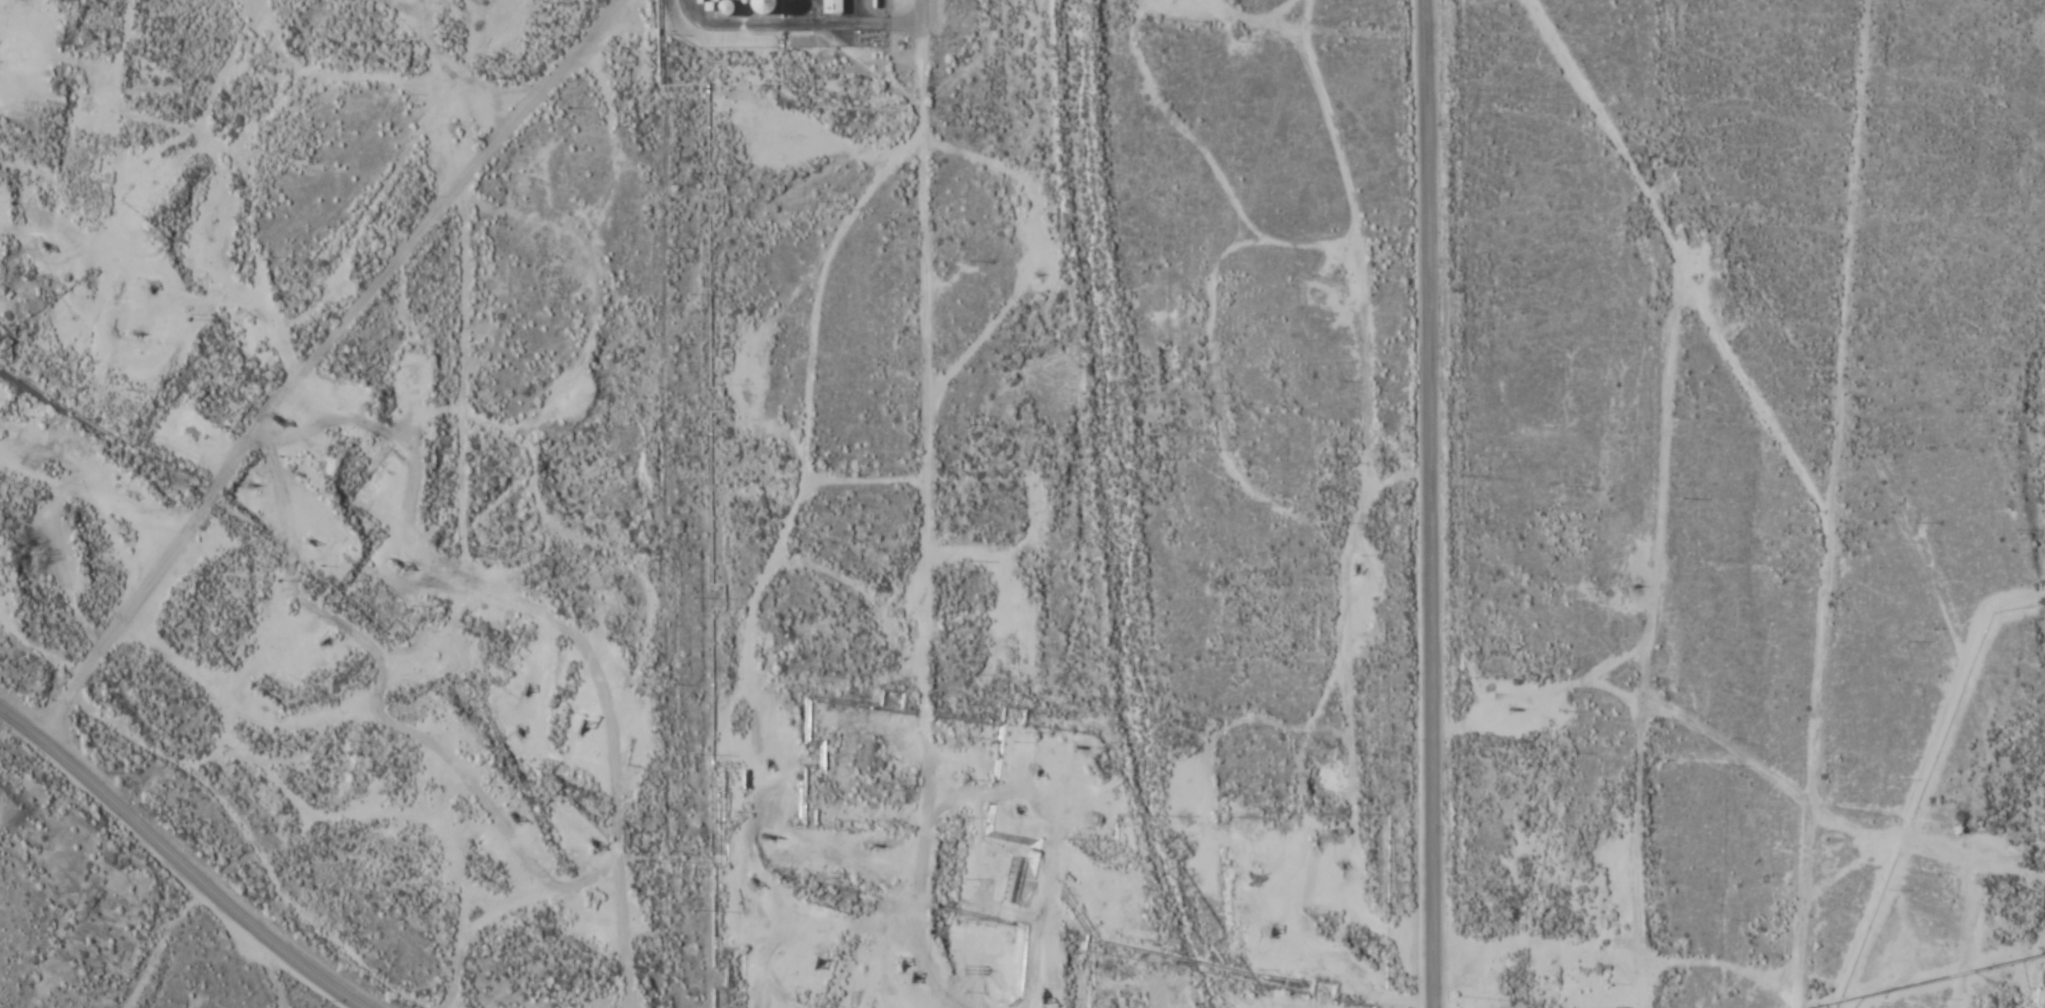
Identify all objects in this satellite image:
building: (762, 6)
building: (724, 7)
building: (831, 7)
road: (472, 67)
road: (321, 356)
road: (465, 414)
road: (1369, 416)
road: (1667, 484)
road: (927, 492)
road: (1431, 503)
road: (75, 692)
road: (1868, 824)
road: (180, 863)
road: (1805, 905)

